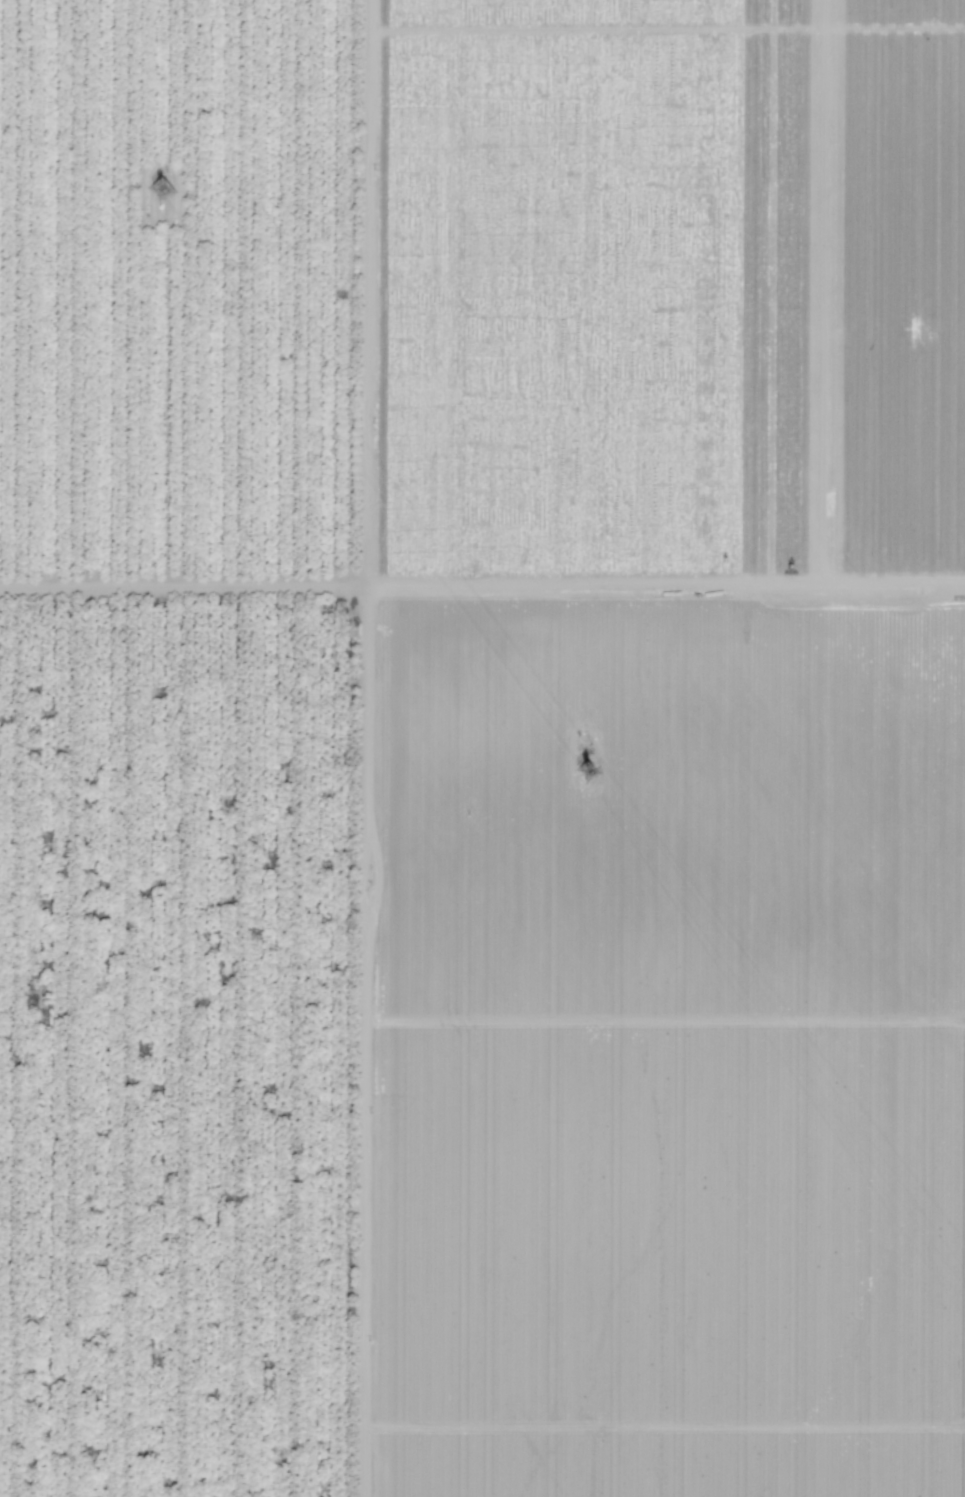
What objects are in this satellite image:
power tower: (171, 185)
crop: (183, 748)
road: (358, 748)
crop: (665, 748)
power tower: (588, 773)

